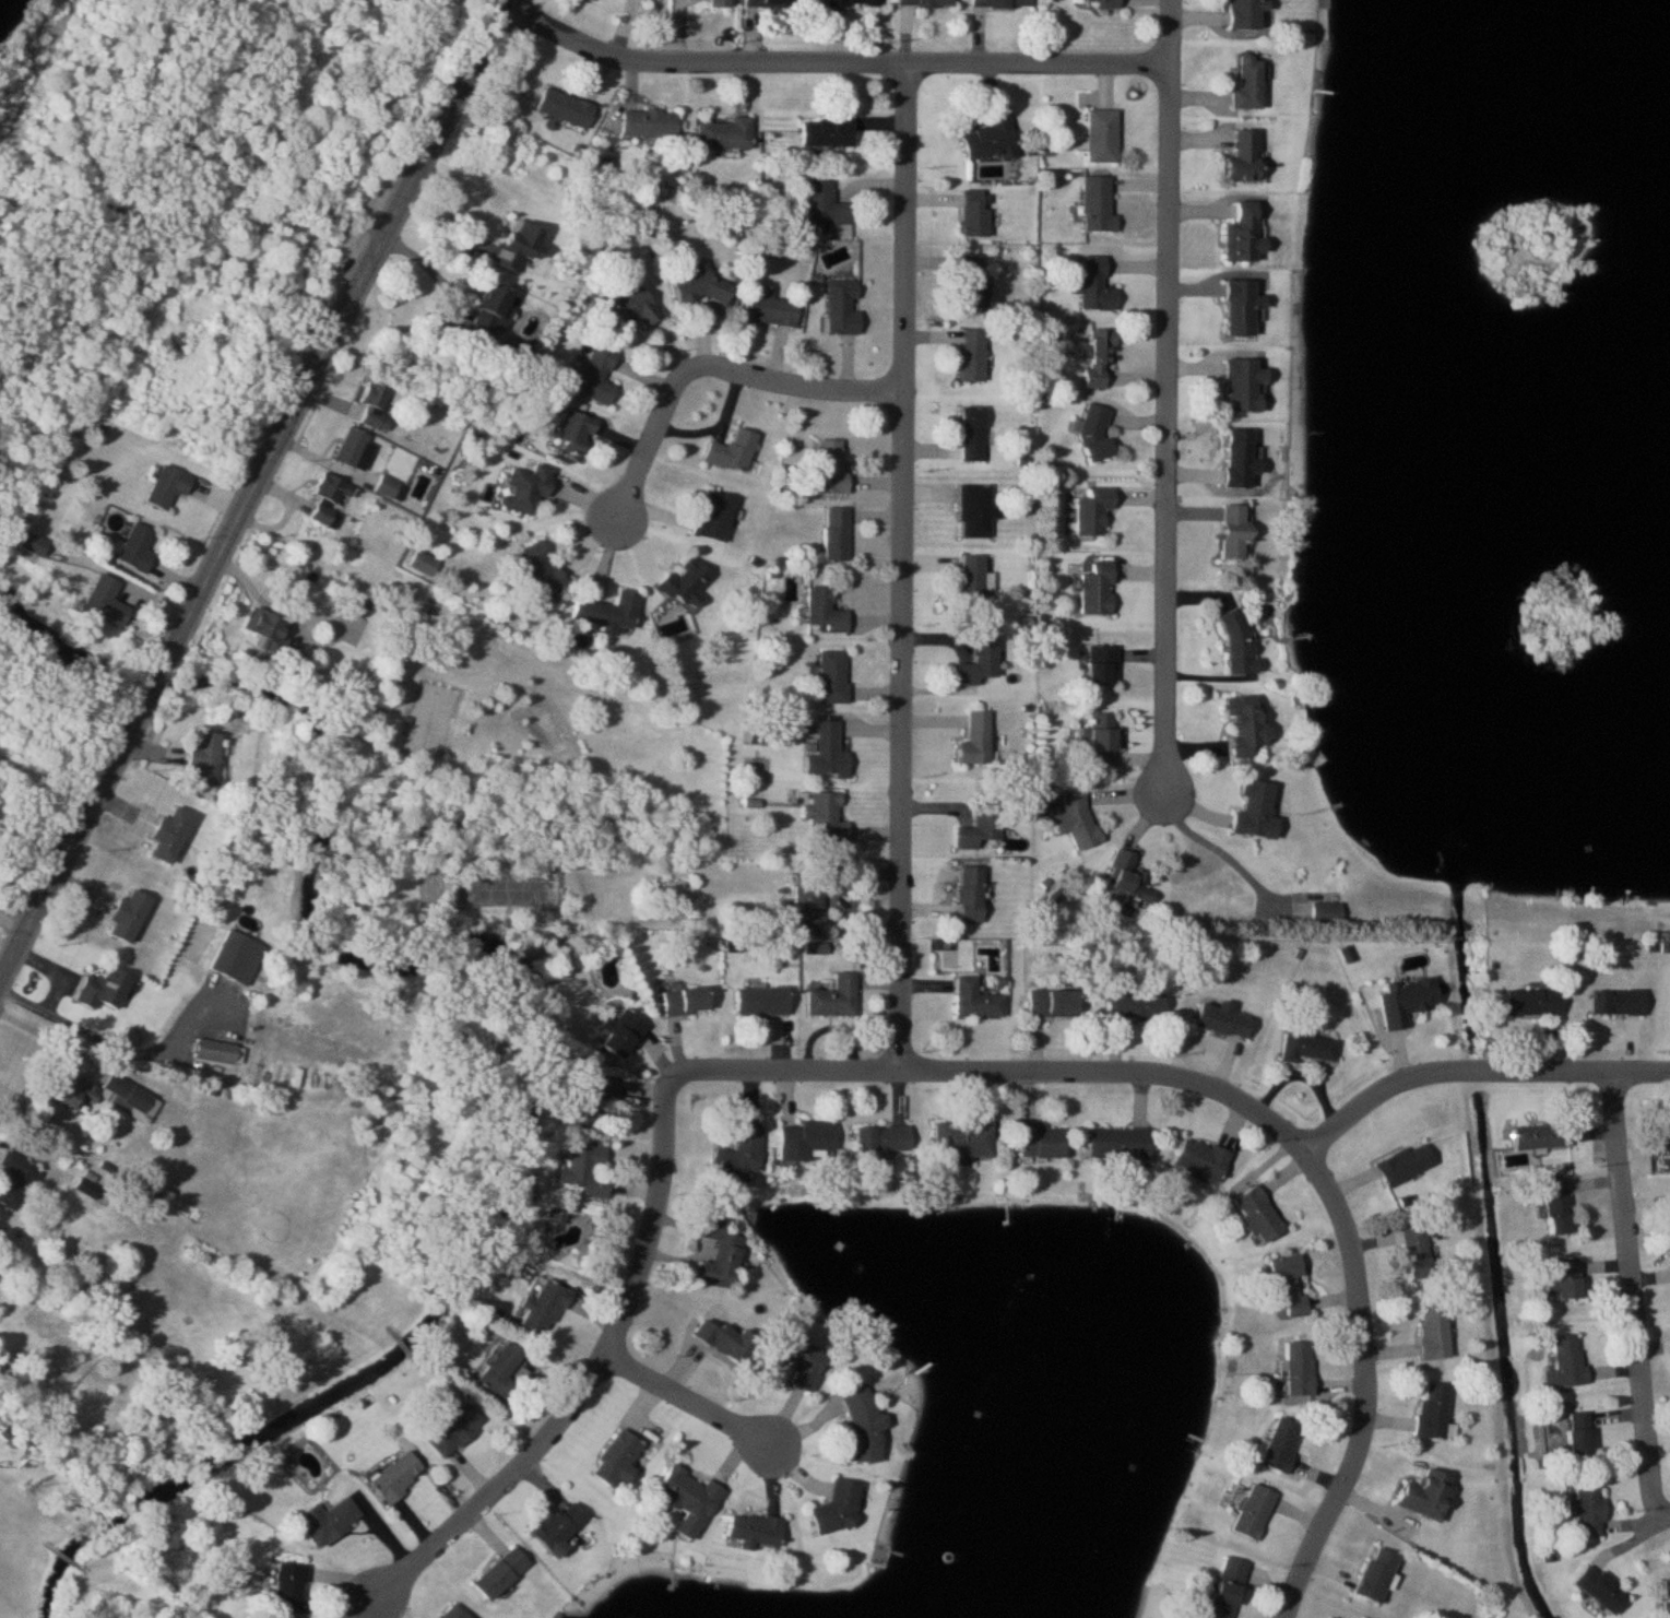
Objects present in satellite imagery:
building: (722, 2)
building: (855, 2)
building: (927, 2)
building: (770, 3)
building: (1004, 3)
building: (1103, 3)
road: (411, 10)
building: (1249, 13)
road: (40, 59)
road: (832, 62)
building: (1252, 83)
building: (568, 108)
building: (651, 122)
building: (829, 131)
building: (729, 133)
building: (1104, 135)
building: (993, 141)
building: (1248, 158)
road: (337, 167)
building: (829, 205)
building: (1100, 205)
road: (141, 211)
building: (976, 213)
building: (1246, 235)
building: (976, 282)
building: (708, 286)
building: (1097, 286)
building: (632, 307)
building: (845, 307)
building: (773, 309)
building: (1237, 310)
building: (491, 312)
building: (974, 356)
building: (1101, 358)
road: (696, 367)
building: (596, 377)
building: (1239, 386)
road: (1169, 388)
building: (377, 404)
building: (1092, 432)
building: (576, 434)
building: (973, 435)
building: (356, 449)
building: (735, 452)
building: (1235, 459)
building: (834, 466)
building: (169, 487)
building: (529, 488)
road: (253, 491)
building: (332, 501)
building: (1088, 510)
building: (975, 511)
building: (718, 517)
building: (1230, 531)
building: (839, 534)
building: (35, 545)
building: (138, 548)
building: (424, 565)
road: (907, 567)
building: (543, 570)
building: (969, 582)
building: (688, 584)
road: (132, 586)
building: (1091, 590)
building: (106, 603)
building: (827, 612)
building: (611, 613)
building: (274, 637)
building: (1230, 641)
river: (55, 647)
building: (975, 661)
building: (1097, 665)
building: (832, 677)
river: (151, 688)
building: (1239, 727)
building: (971, 740)
building: (1095, 742)
building: (825, 752)
building: (205, 760)
road: (44, 779)
building: (1248, 810)
building: (820, 818)
building: (1071, 819)
building: (975, 827)
road: (1218, 830)
building: (174, 836)
building: (1123, 877)
building: (812, 895)
building: (966, 895)
building: (131, 917)
building: (234, 954)
road: (54, 971)
building: (829, 997)
building: (1400, 999)
building: (686, 1000)
building: (971, 1000)
building: (1611, 1000)
building: (756, 1001)
building: (1529, 1001)
building: (1045, 1004)
building: (1130, 1004)
building: (1217, 1018)
building: (624, 1031)
building: (135, 1036)
road: (97, 1039)
building: (1302, 1046)
road: (69, 1047)
building: (220, 1051)
road: (1473, 1072)
building: (132, 1095)
building: (588, 1098)
river: (530, 1101)
road: (1242, 1102)
building: (1668, 1129)
building: (1536, 1135)
building: (876, 1138)
building: (957, 1139)
building: (801, 1141)
building: (1034, 1141)
building: (1112, 1142)
building: (732, 1155)
building: (1194, 1158)
building: (1400, 1162)
building: (587, 1169)
building: (17, 1179)
building: (1552, 1205)
building: (1252, 1213)
building: (556, 1215)
building: (1413, 1251)
building: (722, 1254)
road: (1632, 1277)
building: (1561, 1279)
building: (1282, 1284)
building: (544, 1308)
building: (1429, 1331)
building: (729, 1342)
building: (1563, 1361)
building: (807, 1362)
building: (1294, 1368)
building: (502, 1371)
road: (591, 1372)
road: (683, 1396)
building: (1429, 1409)
building: (867, 1428)
building: (454, 1431)
building: (1566, 1431)
building: (1276, 1444)
building: (618, 1460)
building: (398, 1476)
building: (1420, 1493)
building: (689, 1499)
road: (1659, 1500)
building: (841, 1505)
building: (1583, 1509)
building: (1248, 1511)
building: (329, 1521)
building: (560, 1525)
building: (754, 1530)
road: (69, 1560)
building: (502, 1573)
building: (1372, 1574)
building: (289, 1587)
building: (1221, 1587)
building: (1597, 1587)
building: (455, 1613)

